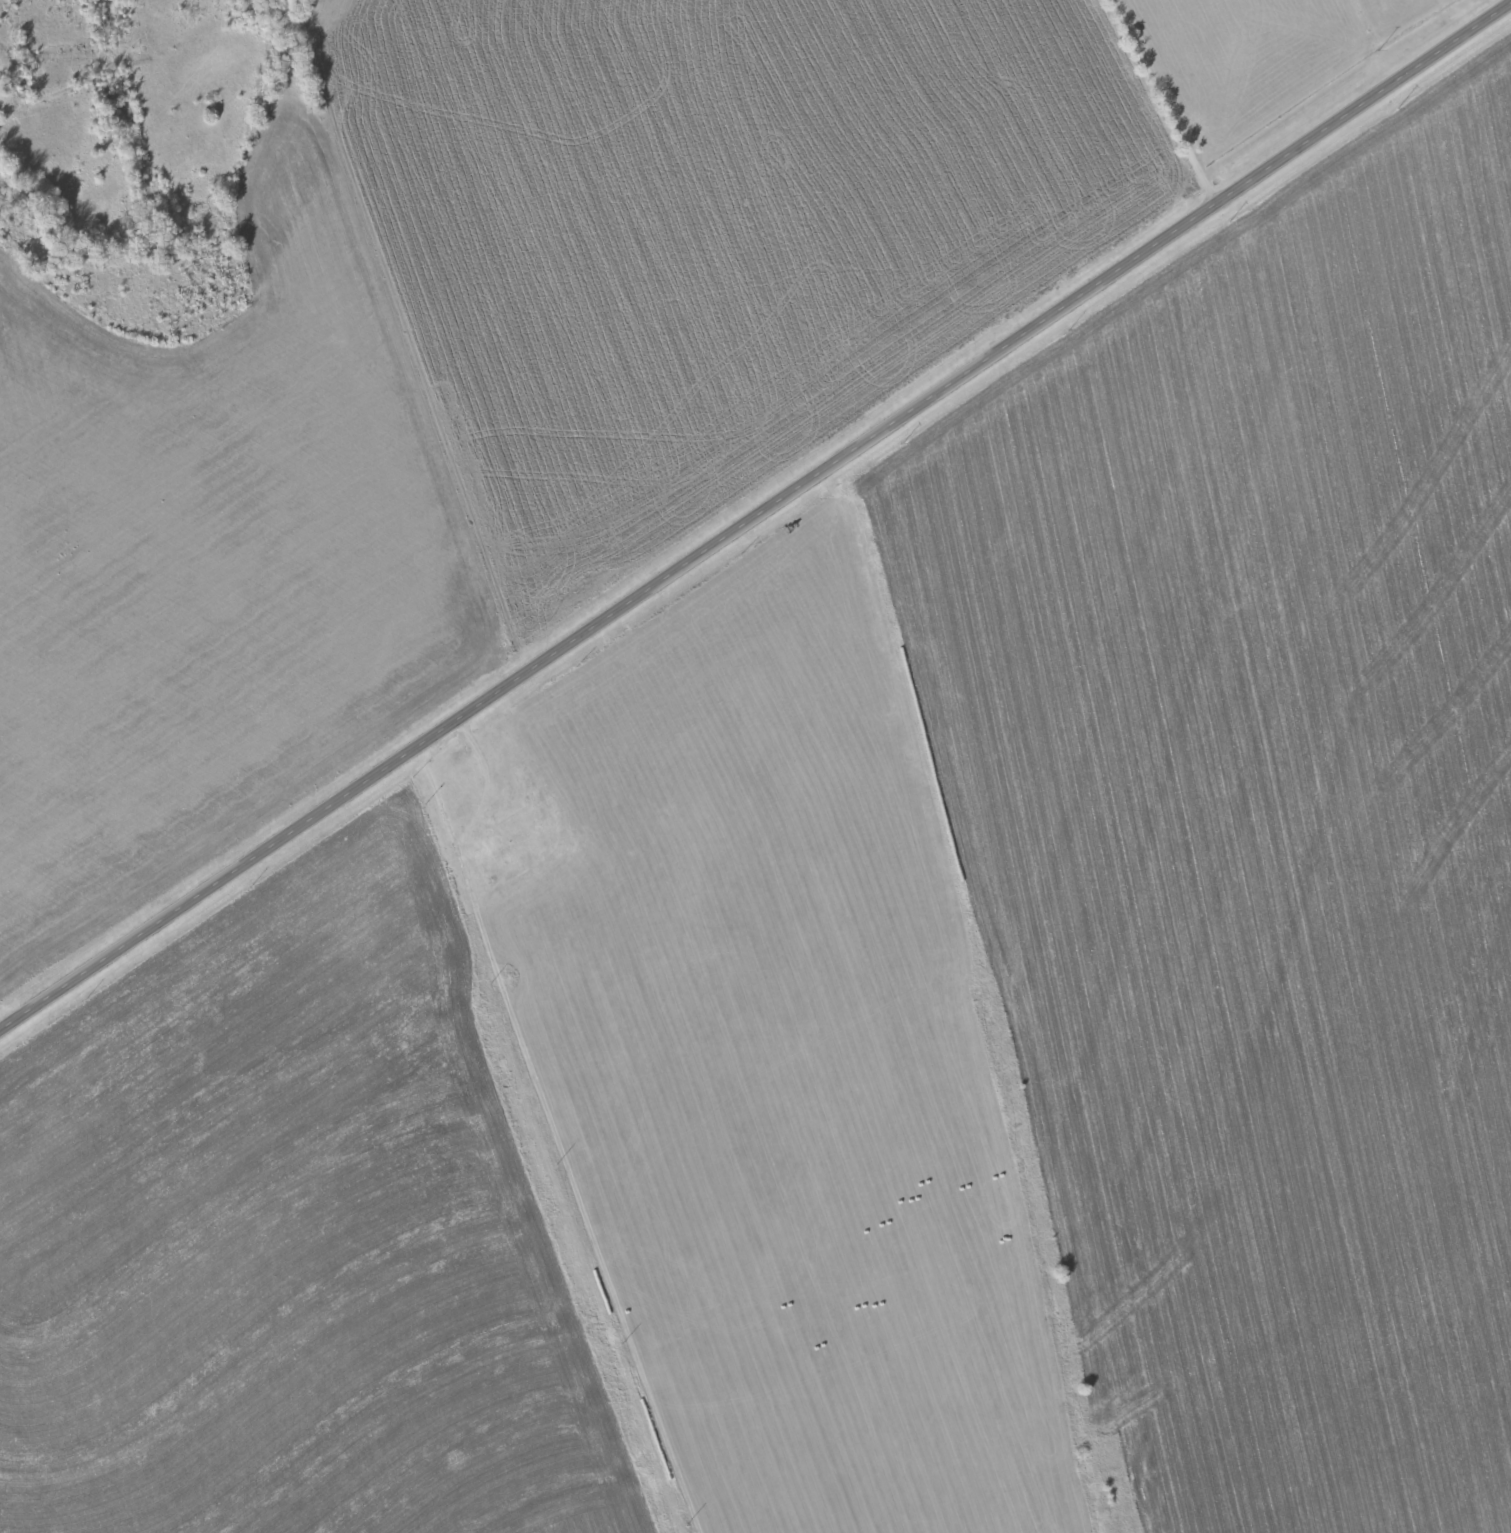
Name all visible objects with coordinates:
road: (1158, 104)
road: (755, 517)
road: (726, 1092)

